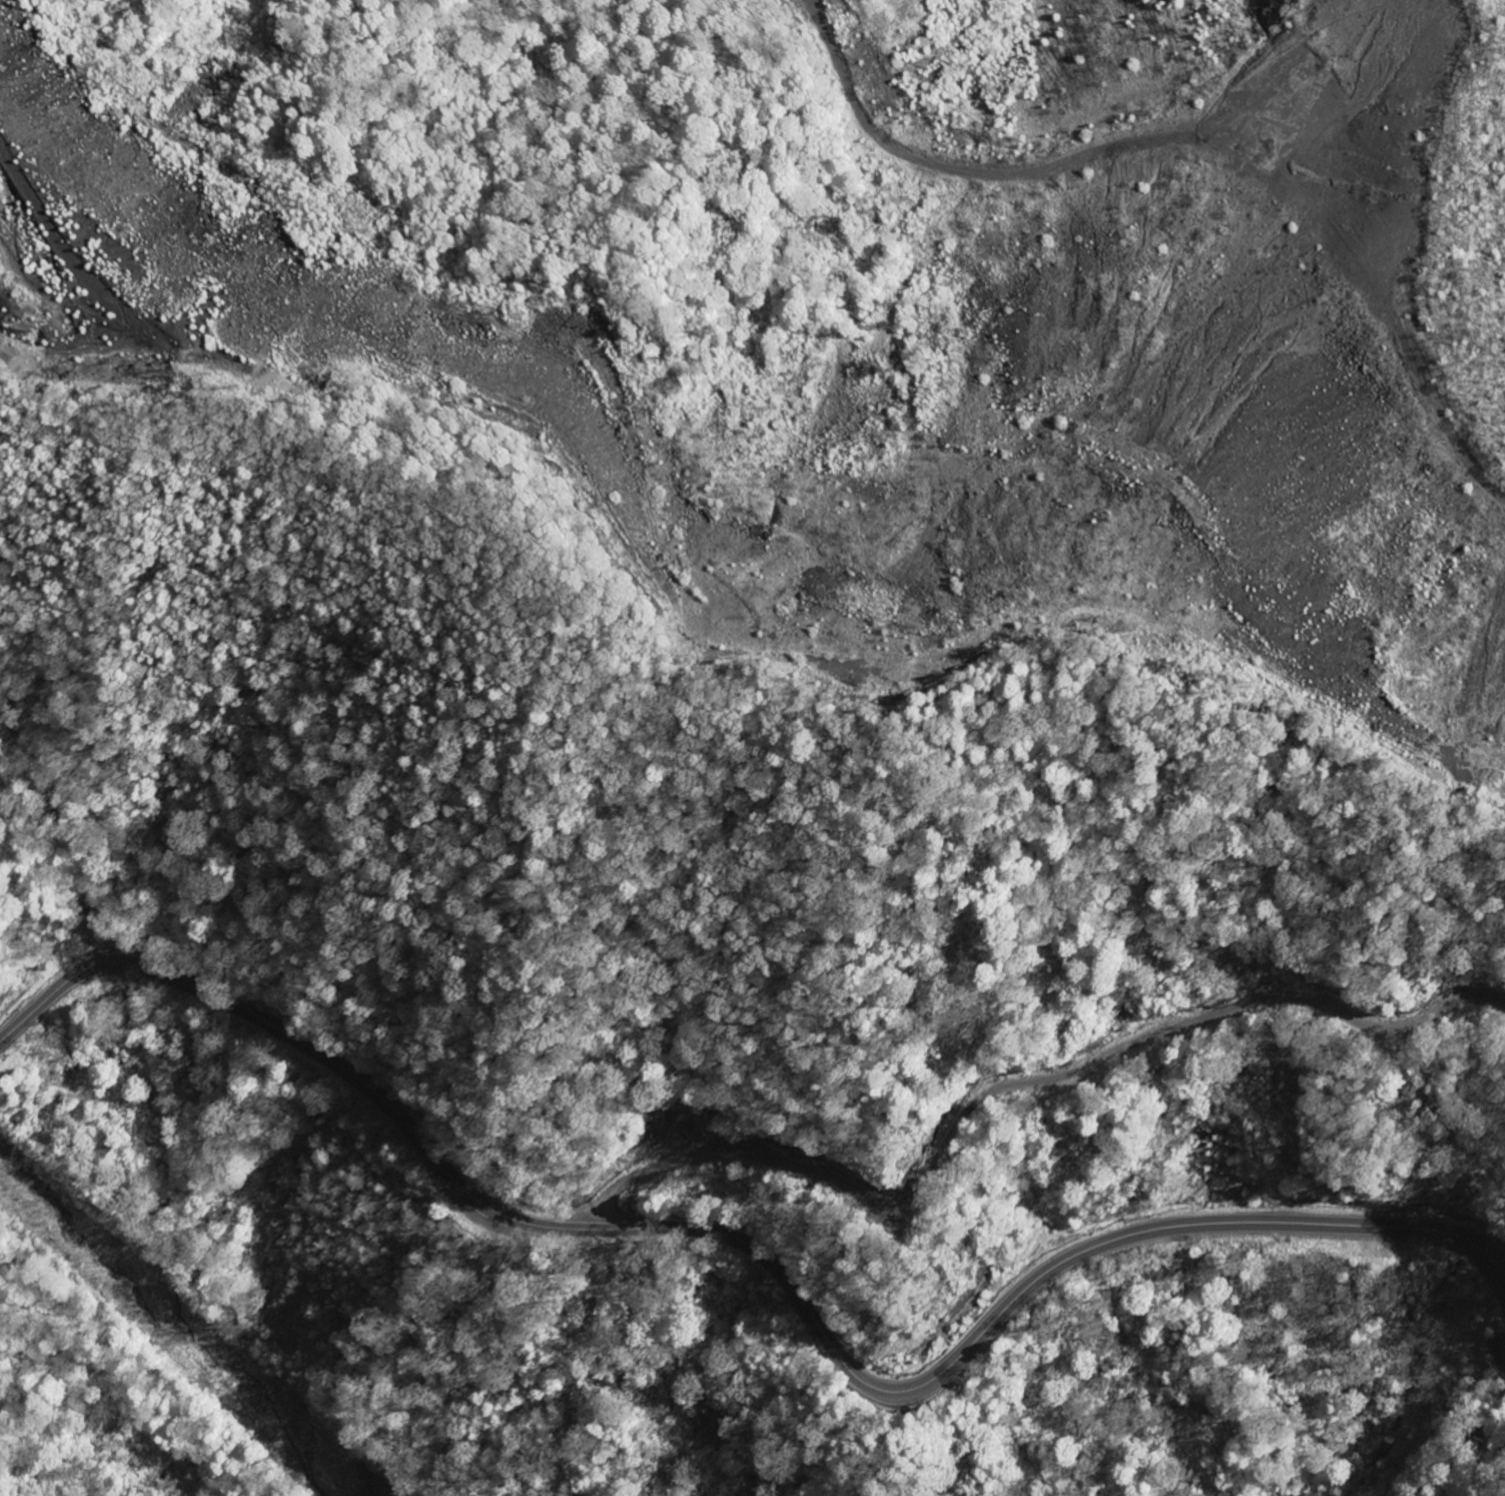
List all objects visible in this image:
road: (1320, 24)
road: (350, 316)
road: (763, 1254)

